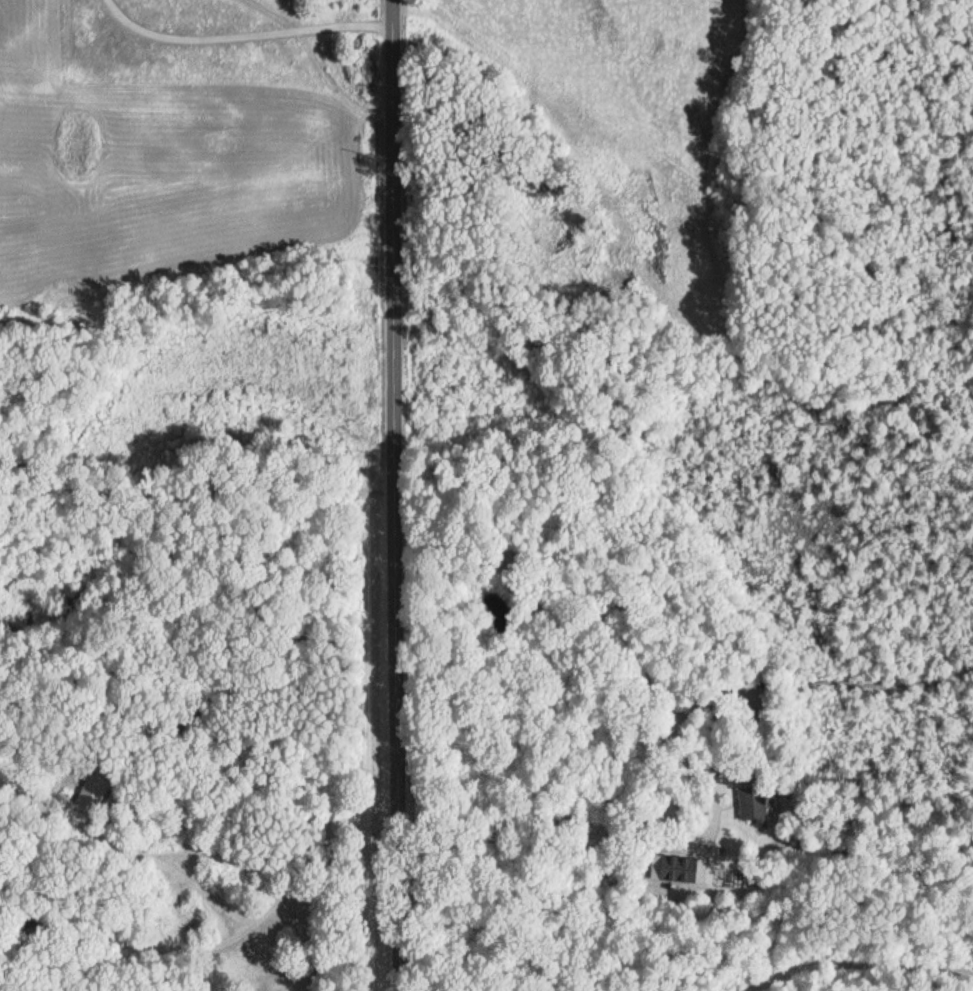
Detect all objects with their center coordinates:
road: (392, 495)
road: (219, 943)

